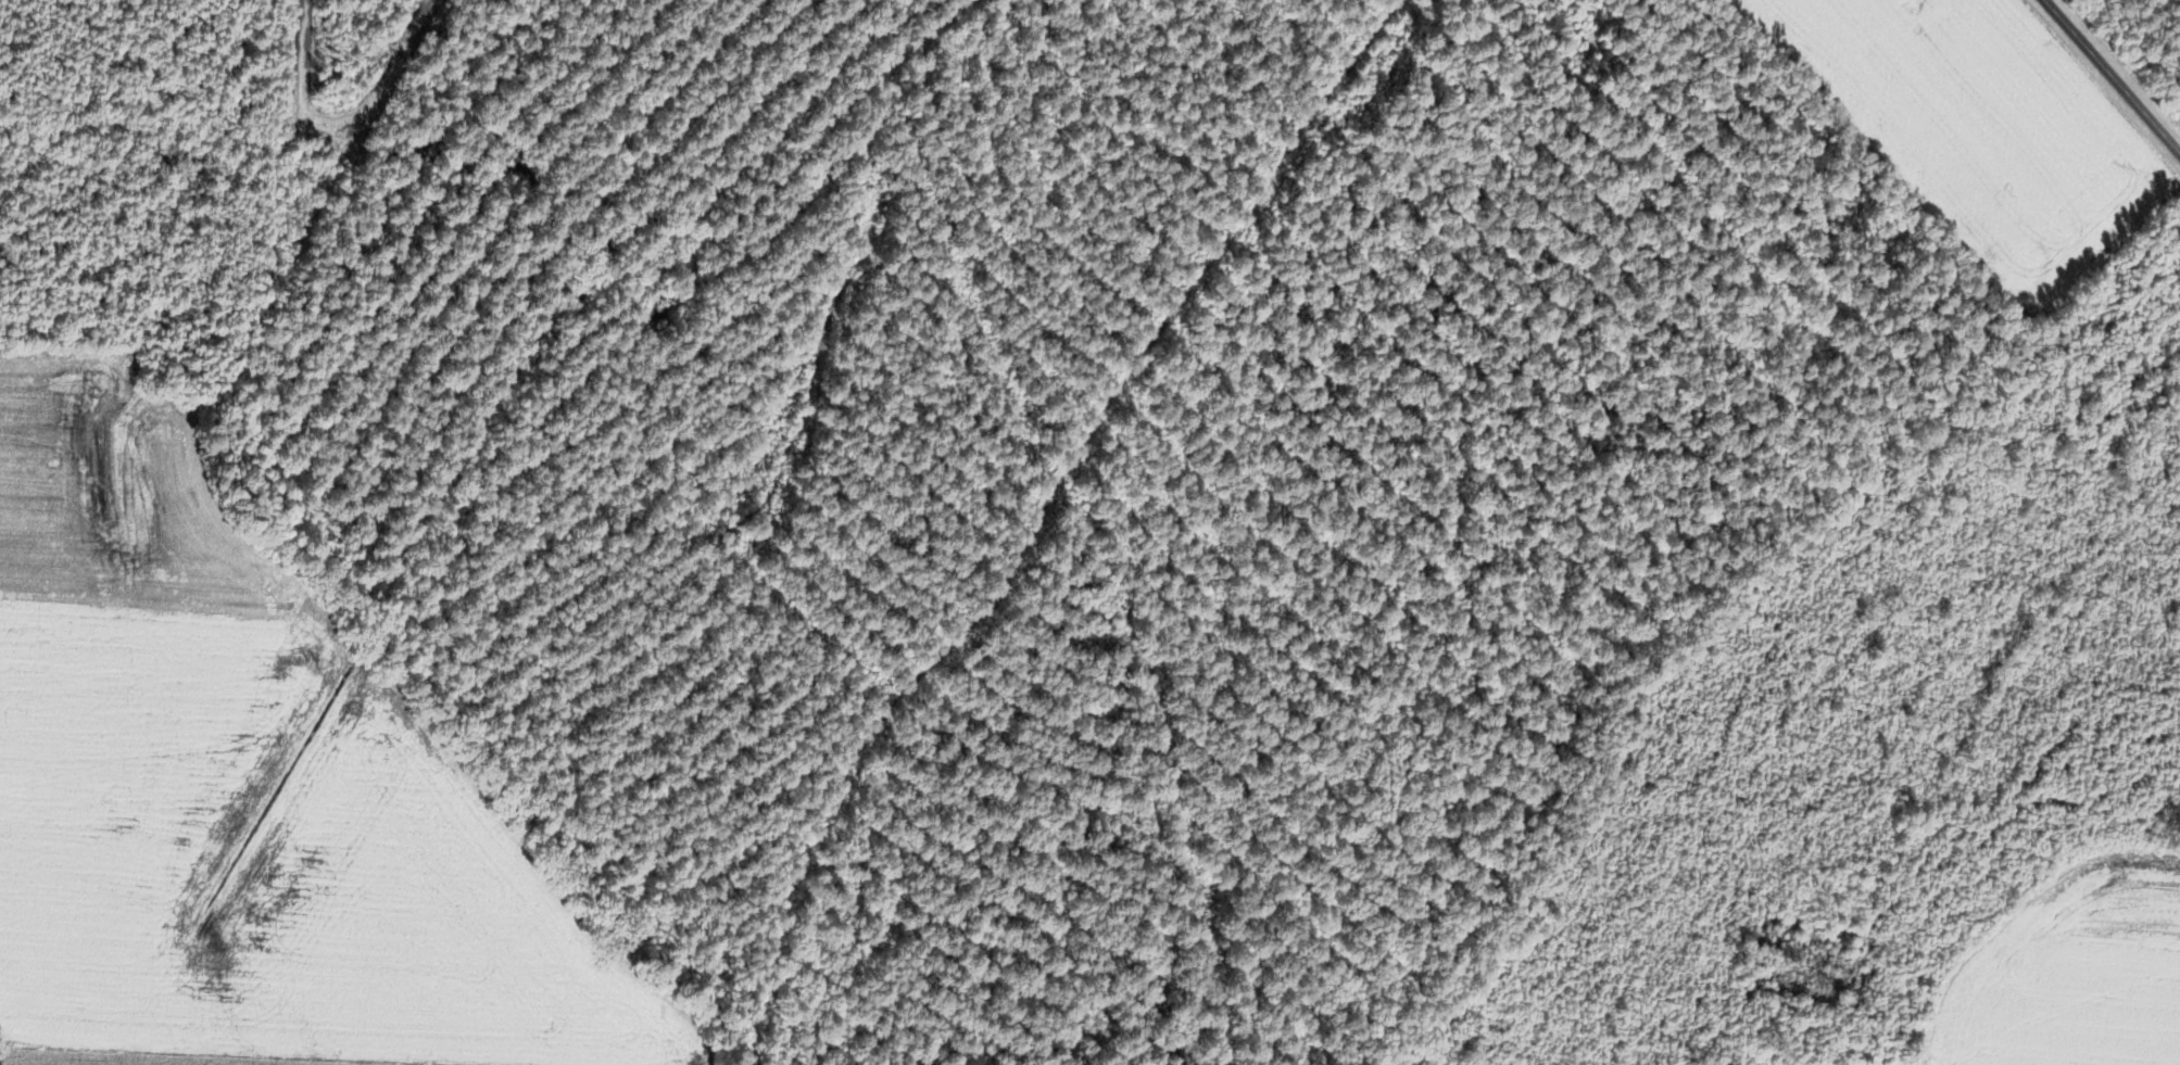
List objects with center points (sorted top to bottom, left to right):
road: (2110, 77)

